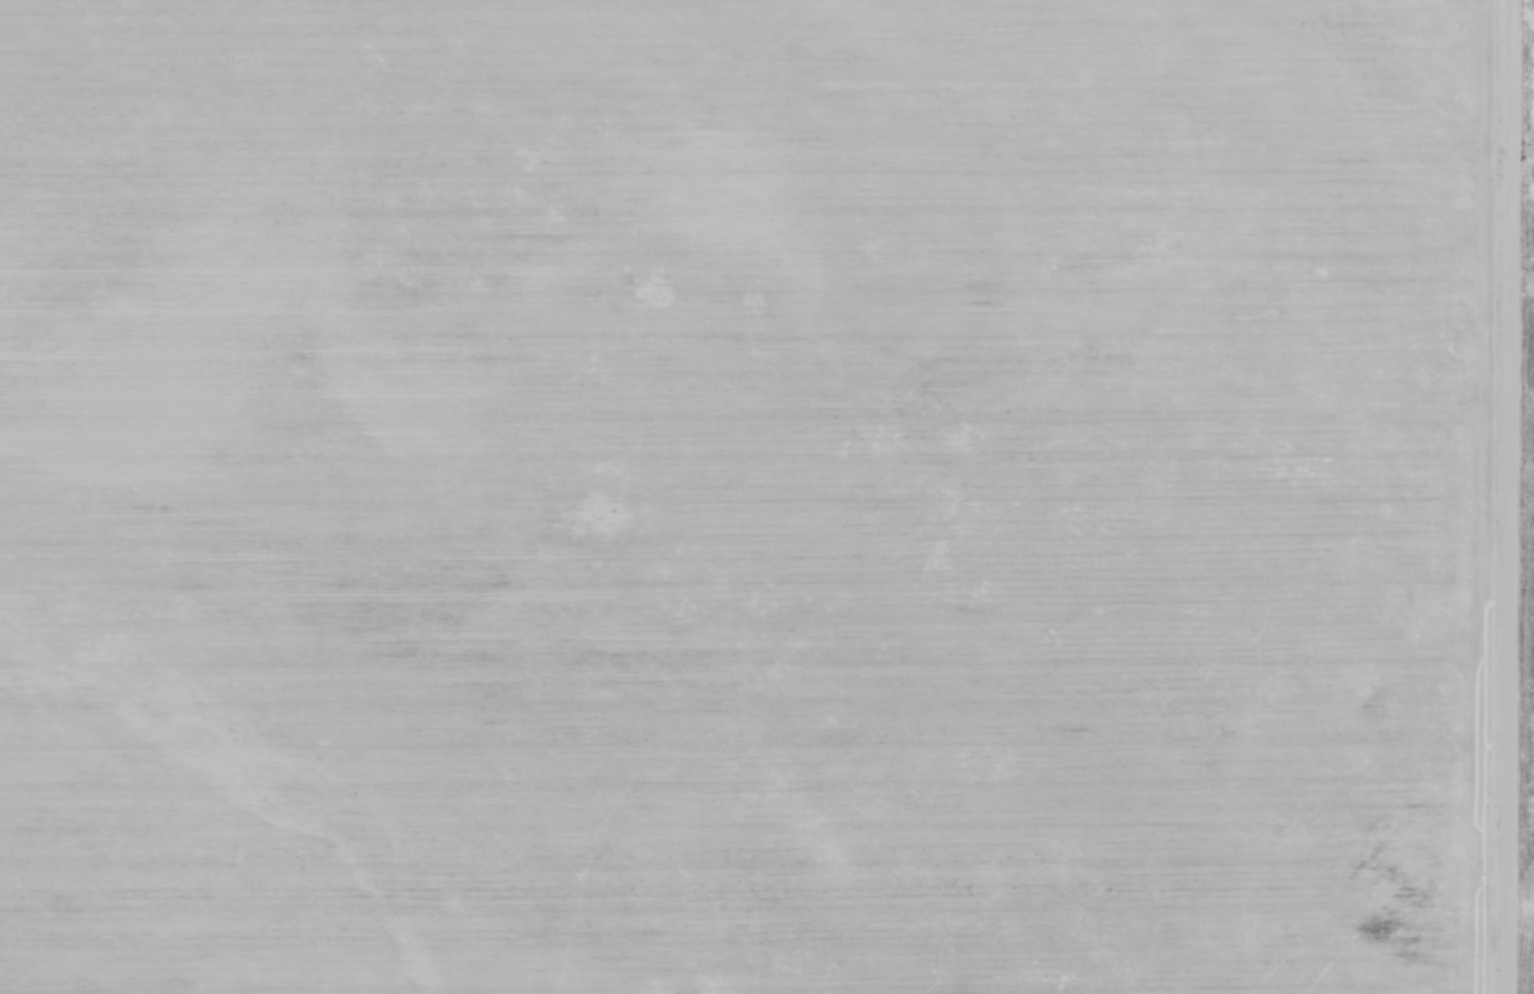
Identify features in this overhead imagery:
road: (1512, 497)

